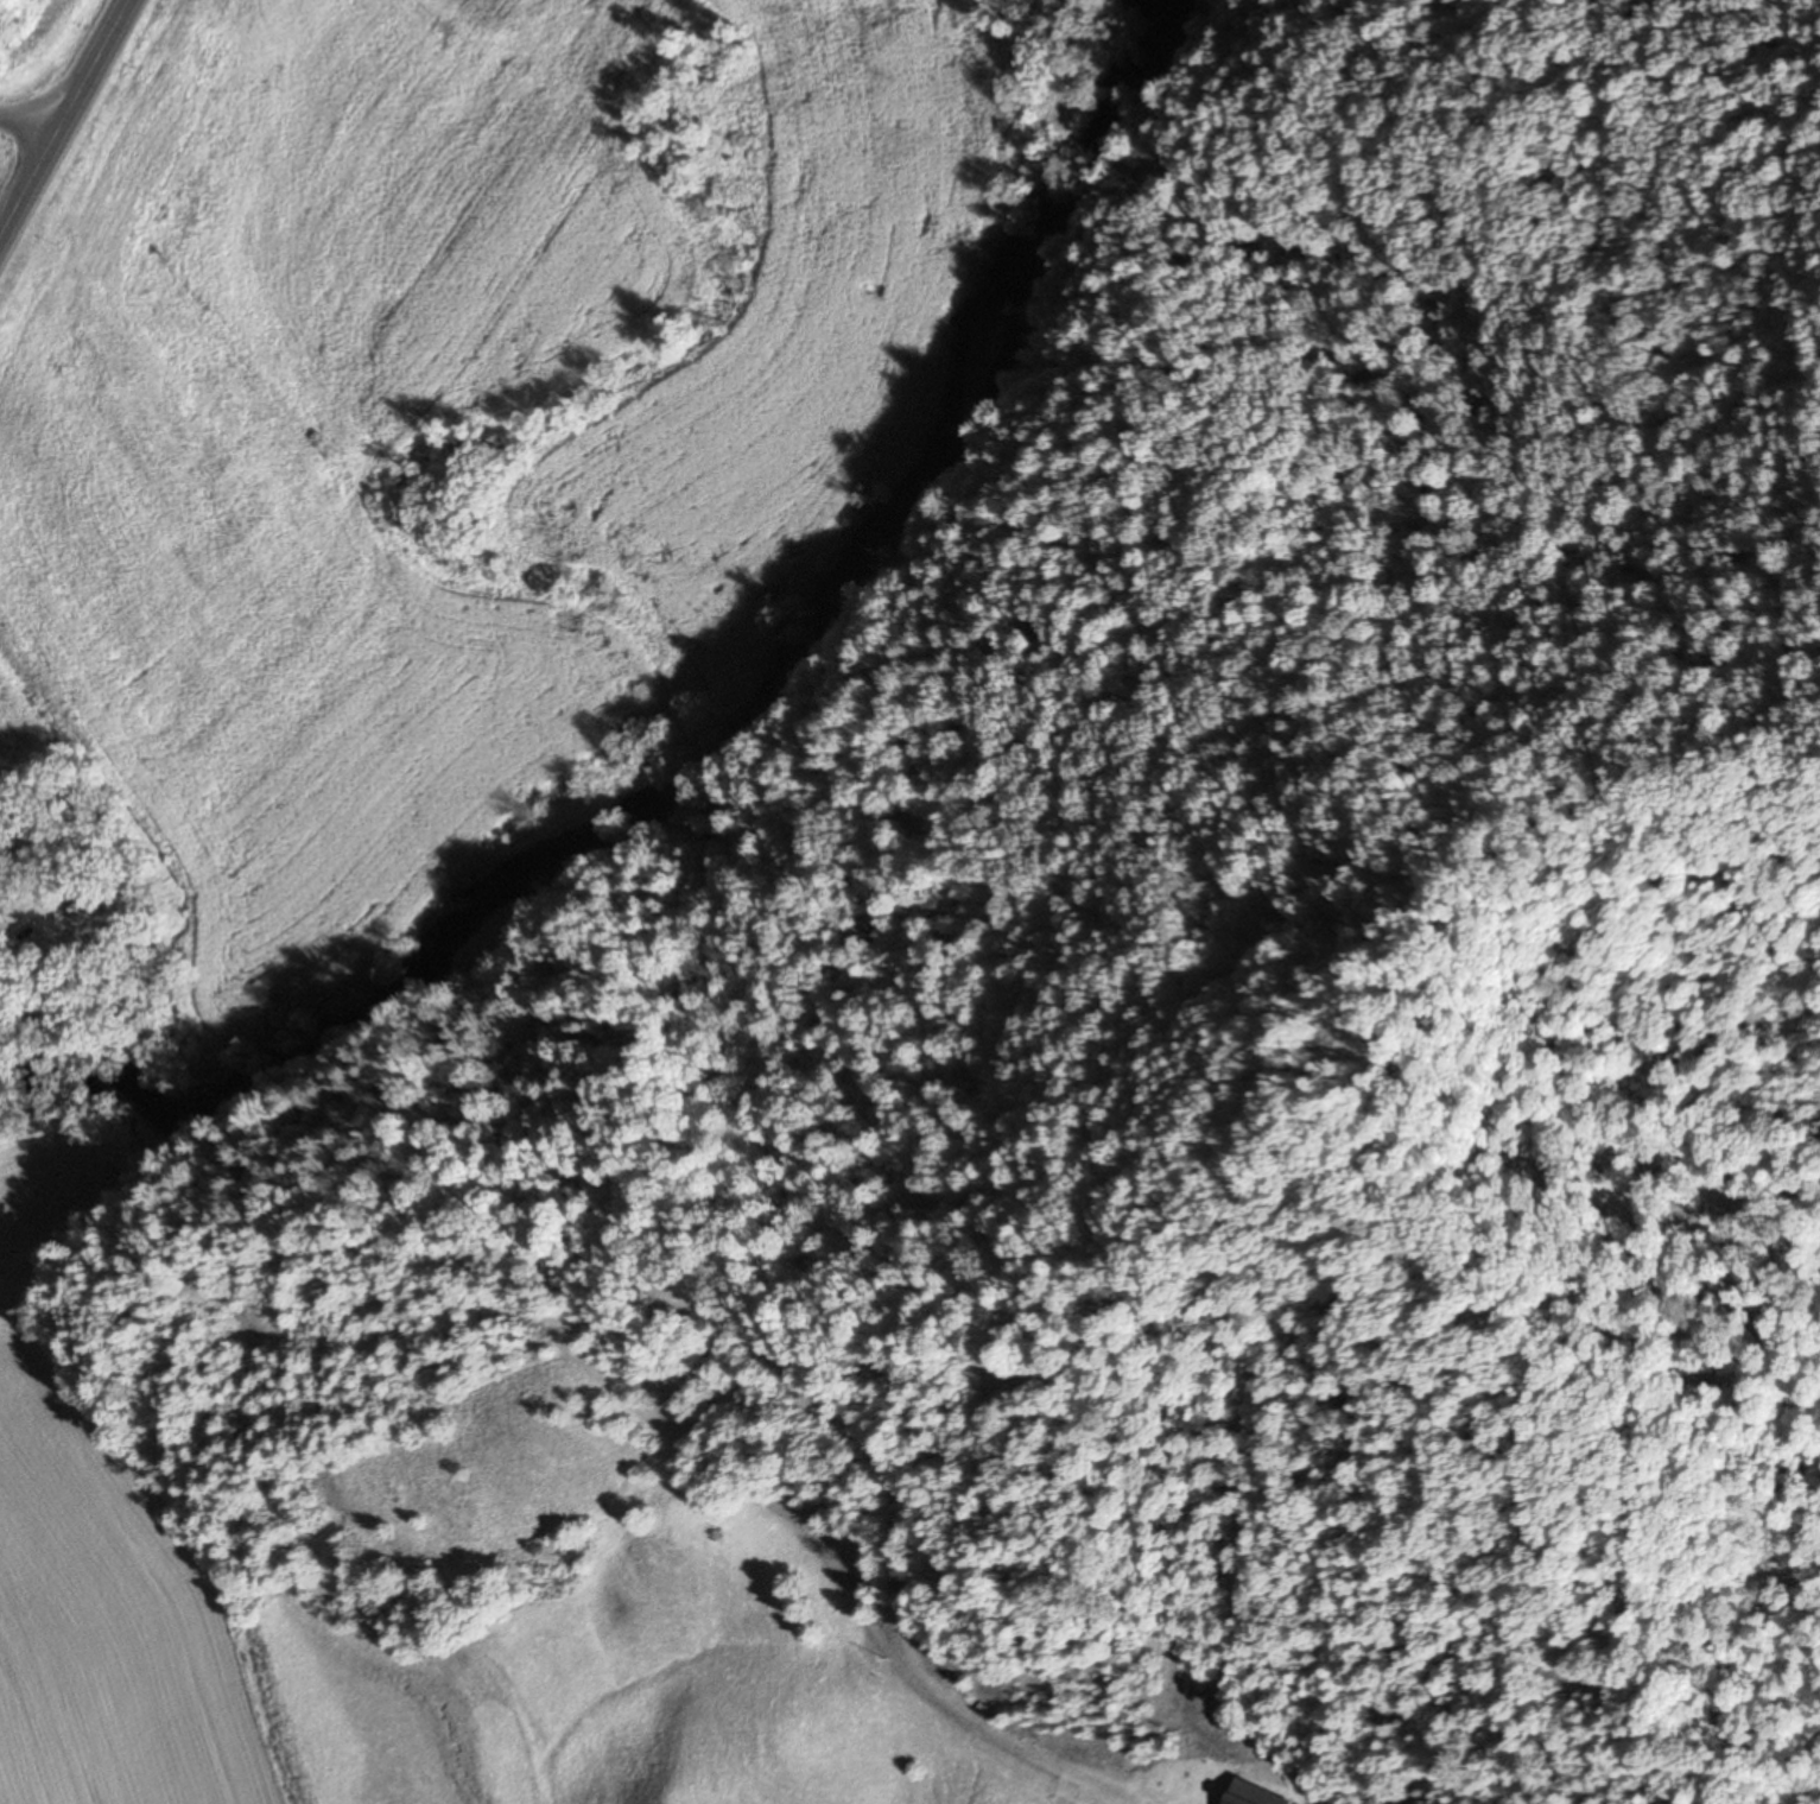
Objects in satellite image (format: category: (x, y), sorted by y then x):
road: (33, 118)
road: (63, 121)
river: (744, 743)
building: (1251, 1794)

